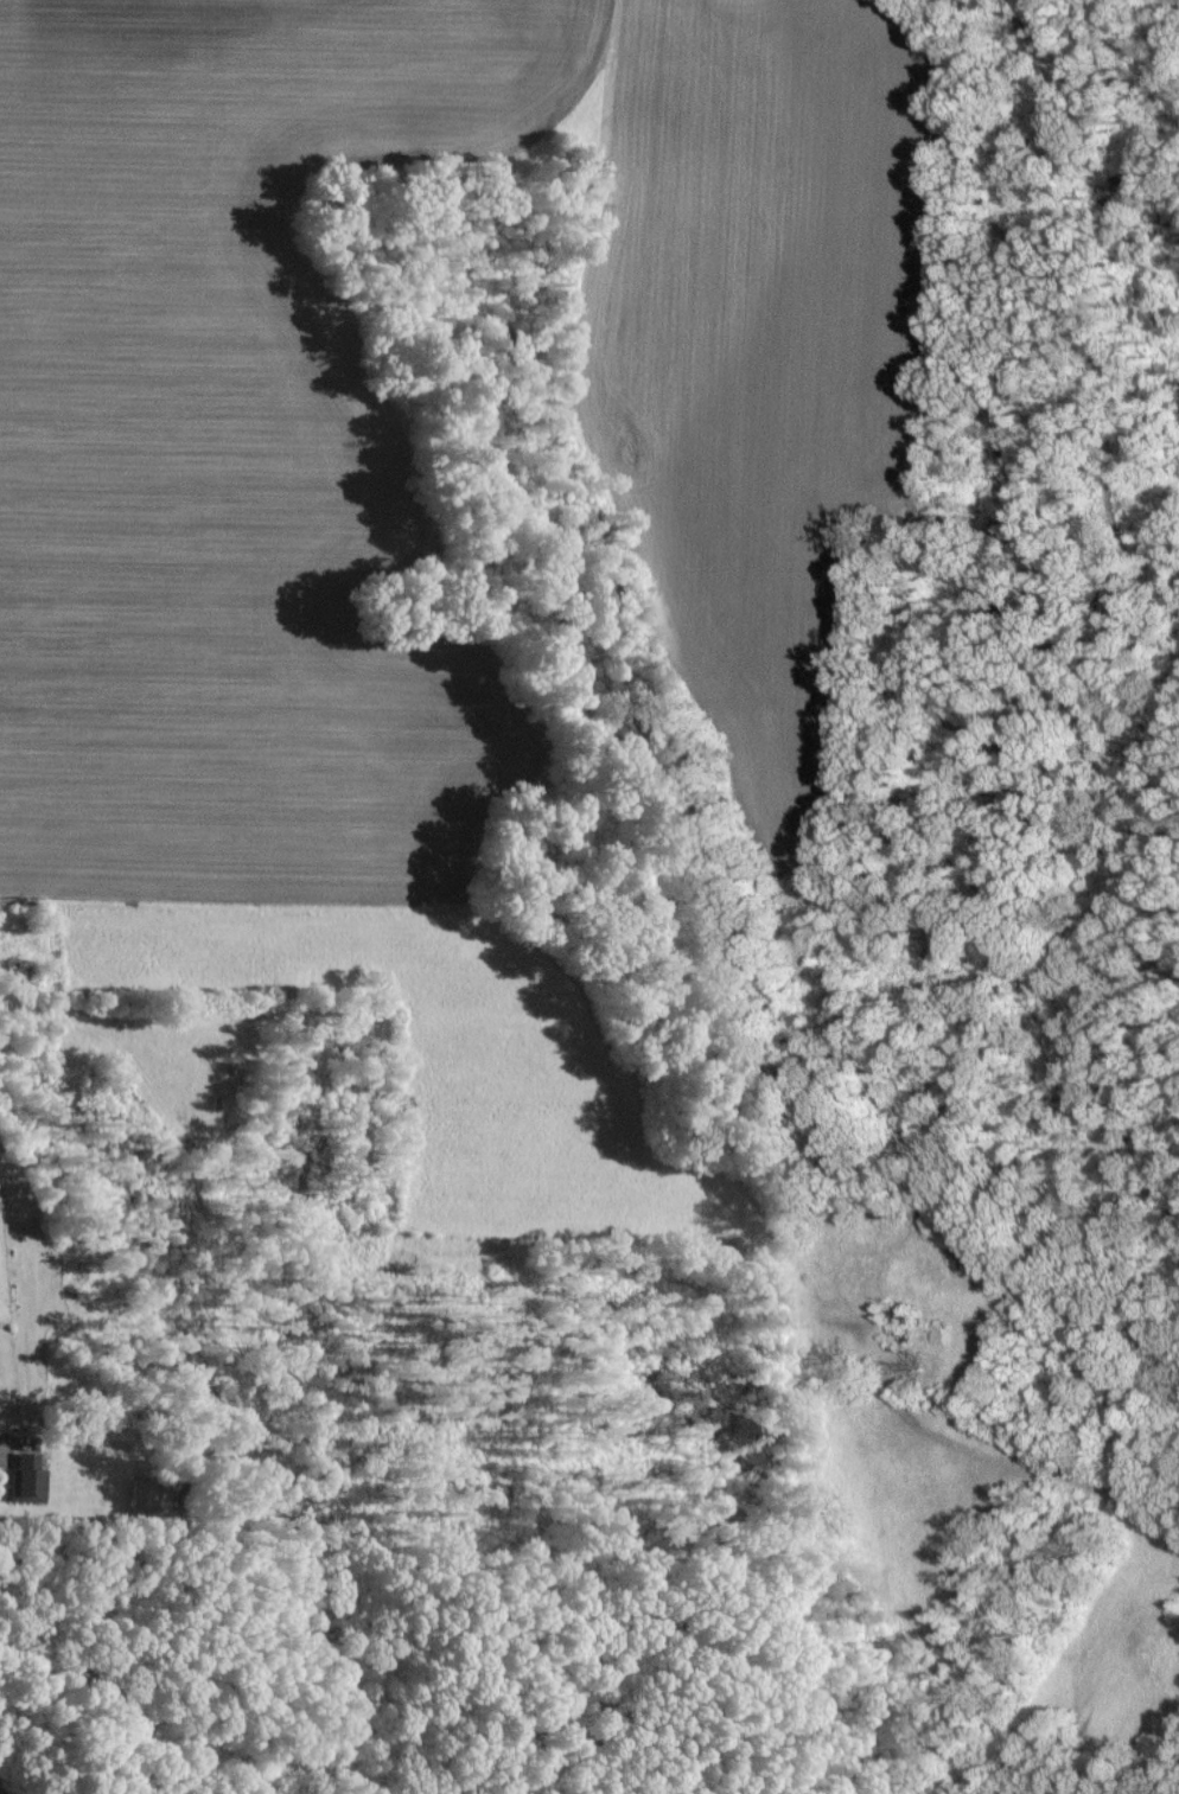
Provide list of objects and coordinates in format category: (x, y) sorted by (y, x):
road: (27, 1426)
building: (138, 1494)

